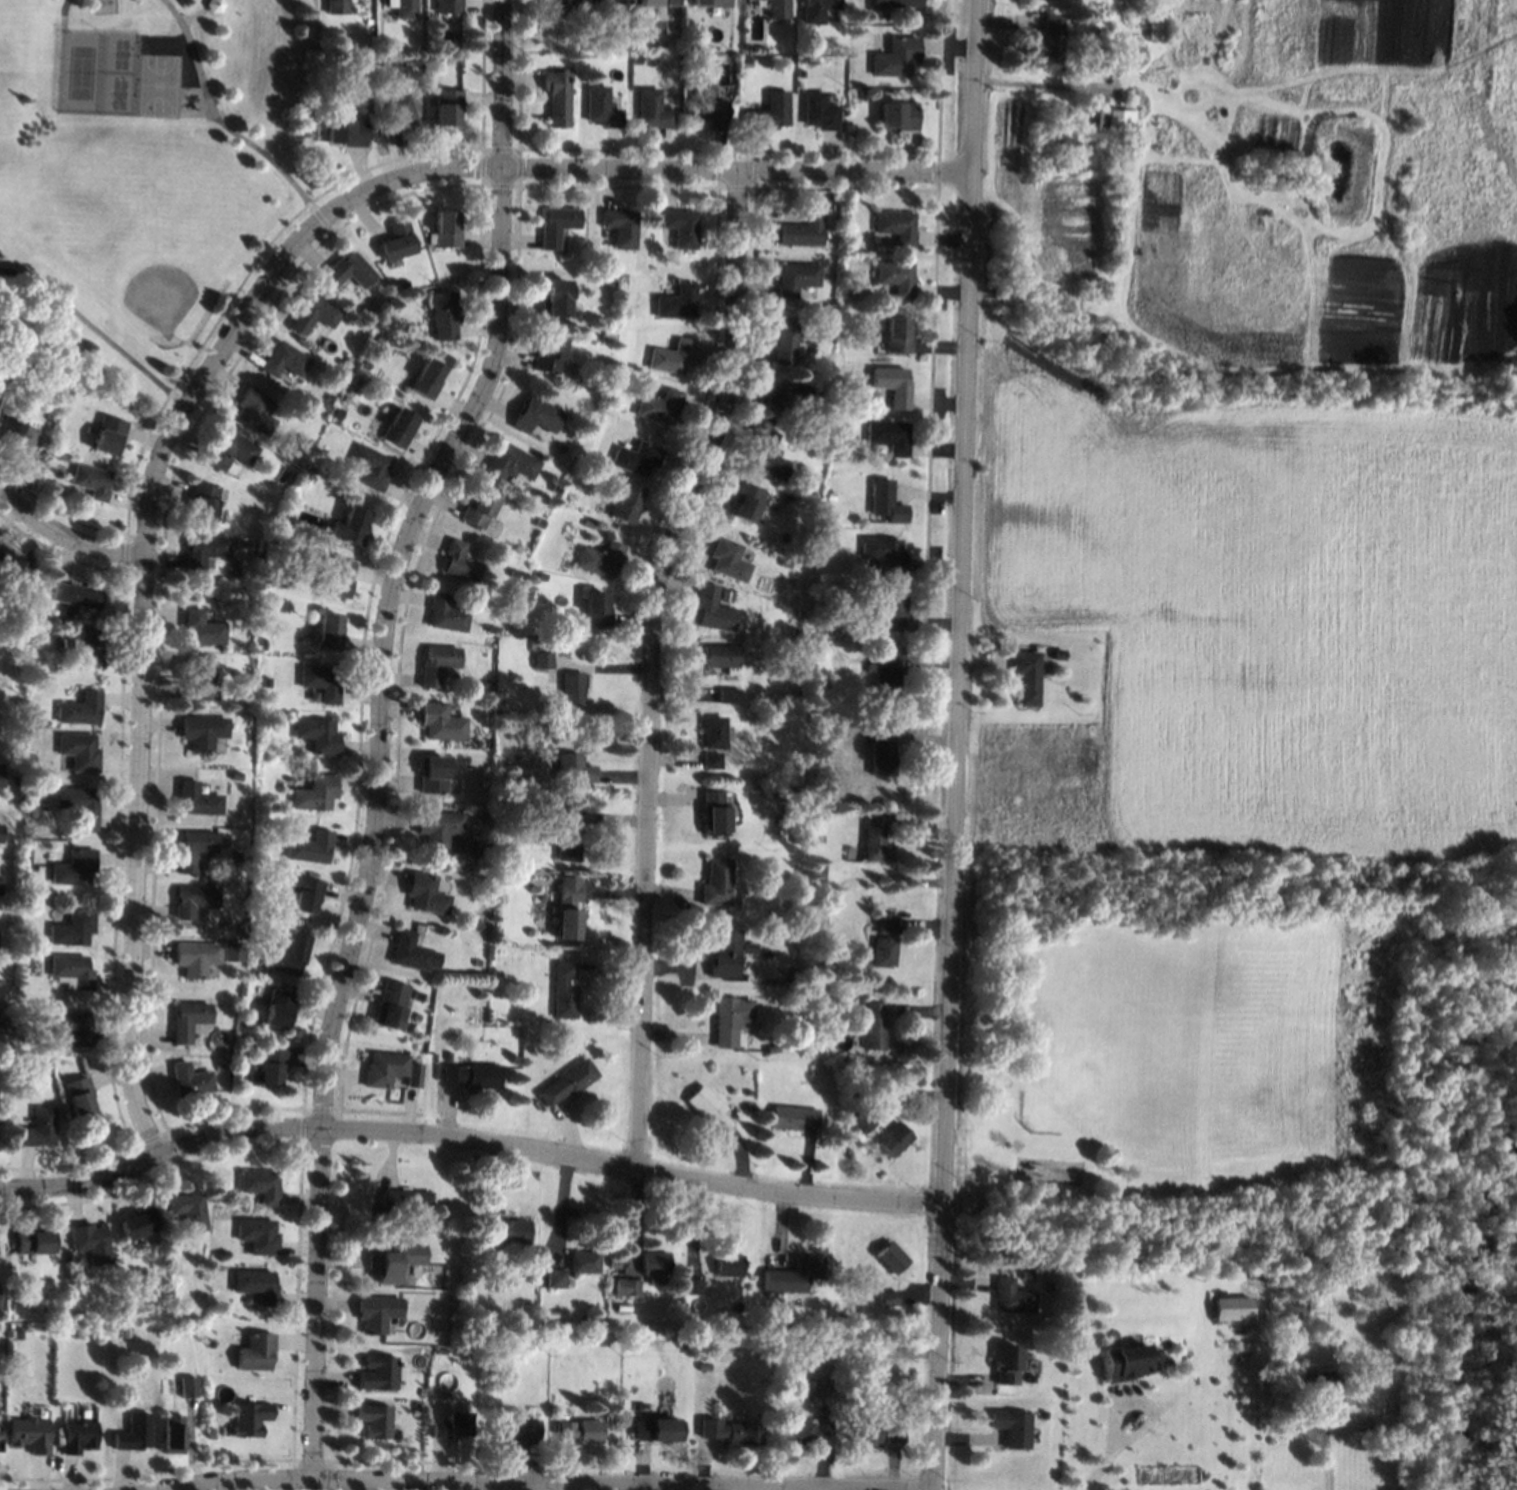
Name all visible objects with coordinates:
building: (657, 1)
building: (897, 2)
building: (710, 3)
building: (214, 4)
building: (448, 5)
building: (336, 6)
building: (613, 7)
building: (405, 8)
building: (551, 8)
building: (777, 8)
building: (815, 10)
building: (1102, 10)
road: (65, 13)
building: (874, 13)
building: (368, 20)
building: (1067, 20)
building: (1155, 26)
building: (381, 41)
building: (1048, 42)
building: (692, 44)
building: (550, 46)
building: (1136, 51)
building: (894, 56)
building: (434, 60)
park: (96, 73)
road: (1042, 87)
park: (159, 88)
building: (861, 94)
building: (555, 96)
building: (363, 105)
building: (446, 105)
building: (601, 106)
building: (707, 106)
building: (652, 108)
building: (817, 110)
building: (768, 111)
building: (896, 114)
building: (398, 116)
building: (1117, 116)
road: (218, 120)
building: (1091, 121)
building: (345, 131)
building: (1119, 132)
road: (738, 165)
park: (146, 178)
building: (556, 224)
building: (895, 225)
building: (620, 226)
building: (680, 226)
building: (445, 228)
building: (801, 230)
building: (395, 240)
building: (561, 257)
park: (156, 270)
building: (347, 270)
building: (895, 276)
building: (794, 277)
building: (611, 281)
building: (403, 283)
building: (553, 297)
building: (842, 299)
building: (676, 300)
building: (312, 312)
building: (443, 314)
building: (896, 333)
building: (784, 339)
building: (548, 352)
building: (671, 355)
building: (346, 358)
building: (283, 359)
building: (17, 372)
building: (361, 373)
building: (426, 378)
building: (892, 384)
building: (784, 394)
building: (323, 405)
building: (659, 405)
building: (252, 410)
building: (335, 412)
building: (536, 414)
building: (398, 427)
building: (16, 431)
building: (107, 433)
building: (572, 433)
building: (888, 435)
building: (54, 442)
crop: (1262, 445)
building: (559, 447)
building: (227, 449)
building: (765, 455)
building: (62, 457)
building: (637, 457)
building: (510, 461)
building: (369, 466)
building: (90, 480)
building: (554, 487)
building: (828, 495)
building: (201, 499)
building: (744, 499)
building: (885, 500)
building: (626, 502)
building: (477, 508)
building: (539, 522)
building: (589, 523)
building: (349, 525)
building: (828, 533)
road: (64, 536)
building: (277, 538)
building: (203, 548)
building: (884, 553)
building: (253, 555)
building: (599, 558)
building: (727, 558)
building: (459, 560)
building: (9, 561)
building: (783, 562)
road: (143, 564)
building: (513, 571)
building: (336, 575)
building: (542, 576)
building: (75, 594)
building: (596, 608)
building: (711, 608)
building: (889, 611)
building: (445, 612)
building: (799, 612)
building: (201, 626)
building: (525, 627)
building: (825, 627)
building: (247, 629)
building: (328, 630)
building: (87, 647)
building: (769, 647)
road: (651, 655)
building: (718, 657)
building: (542, 659)
building: (36, 662)
building: (437, 662)
building: (887, 673)
building: (1026, 675)
building: (821, 680)
building: (195, 681)
building: (321, 681)
building: (571, 687)
building: (727, 694)
building: (264, 697)
building: (18, 700)
building: (80, 708)
building: (31, 718)
building: (441, 721)
road: (377, 729)
building: (837, 729)
building: (202, 730)
building: (711, 731)
building: (317, 734)
building: (820, 738)
building: (545, 745)
road: (956, 745)
building: (78, 750)
building: (880, 750)
building: (489, 758)
building: (710, 758)
building: (571, 767)
building: (431, 773)
building: (0, 778)
building: (13, 779)
building: (29, 787)
building: (315, 792)
building: (502, 795)
building: (195, 798)
building: (77, 804)
building: (711, 812)
building: (0, 825)
building: (436, 826)
building: (566, 834)
building: (874, 838)
building: (310, 846)
building: (191, 848)
building: (234, 855)
building: (74, 866)
building: (817, 867)
building: (714, 881)
building: (305, 892)
building: (425, 893)
building: (541, 894)
building: (809, 897)
building: (192, 899)
building: (793, 906)
building: (567, 909)
building: (476, 923)
building: (297, 924)
building: (72, 927)
building: (884, 939)
building: (242, 942)
building: (745, 945)
building: (408, 950)
building: (230, 951)
building: (288, 953)
building: (723, 953)
building: (194, 957)
building: (26, 960)
building: (476, 962)
building: (808, 966)
building: (70, 971)
building: (769, 981)
building: (816, 986)
building: (563, 989)
building: (278, 1007)
building: (388, 1008)
building: (730, 1018)
building: (186, 1019)
building: (20, 1024)
building: (71, 1025)
building: (873, 1025)
building: (408, 1027)
building: (804, 1035)
building: (249, 1039)
building: (772, 1047)
building: (448, 1055)
building: (849, 1055)
building: (857, 1056)
park: (1093, 1058)
building: (218, 1066)
building: (267, 1066)
building: (383, 1067)
building: (855, 1070)
building: (472, 1073)
building: (413, 1074)
park: (1244, 1075)
building: (189, 1079)
building: (567, 1081)
building: (864, 1087)
building: (77, 1094)
building: (749, 1104)
building: (708, 1108)
building: (792, 1116)
building: (862, 1120)
building: (37, 1127)
road: (468, 1138)
building: (894, 1138)
building: (260, 1184)
building: (405, 1200)
building: (188, 1209)
building: (137, 1224)
building: (506, 1229)
building: (257, 1235)
building: (32, 1239)
building: (91, 1241)
building: (68, 1255)
building: (890, 1255)
building: (394, 1260)
building: (584, 1261)
building: (654, 1262)
building: (727, 1263)
building: (807, 1265)
building: (122, 1274)
building: (1025, 1274)
building: (556, 1277)
building: (255, 1284)
building: (496, 1284)
building: (691, 1284)
building: (626, 1285)
building: (777, 1286)
building: (887, 1296)
building: (1010, 1296)
building: (1290, 1305)
building: (12, 1306)
building: (1231, 1307)
building: (375, 1311)
river: (1471, 1311)
building: (545, 1314)
building: (66, 1329)
building: (17, 1332)
building: (804, 1339)
building: (458, 1340)
building: (256, 1351)
building: (489, 1356)
building: (1004, 1362)
building: (1123, 1363)
building: (702, 1364)
building: (377, 1371)
building: (1324, 1378)
building: (188, 1386)
building: (420, 1391)
road: (1145, 1403)
building: (1042, 1413)
building: (249, 1417)
building: (373, 1419)
building: (447, 1425)
building: (1011, 1426)
building: (515, 1428)
building: (581, 1429)
building: (658, 1429)
building: (801, 1429)
building: (729, 1430)
building: (134, 1432)
building: (874, 1432)
building: (172, 1433)
building: (29, 1434)
building: (78, 1435)
road: (1328, 1460)
road: (1103, 1467)
road: (545, 1483)

